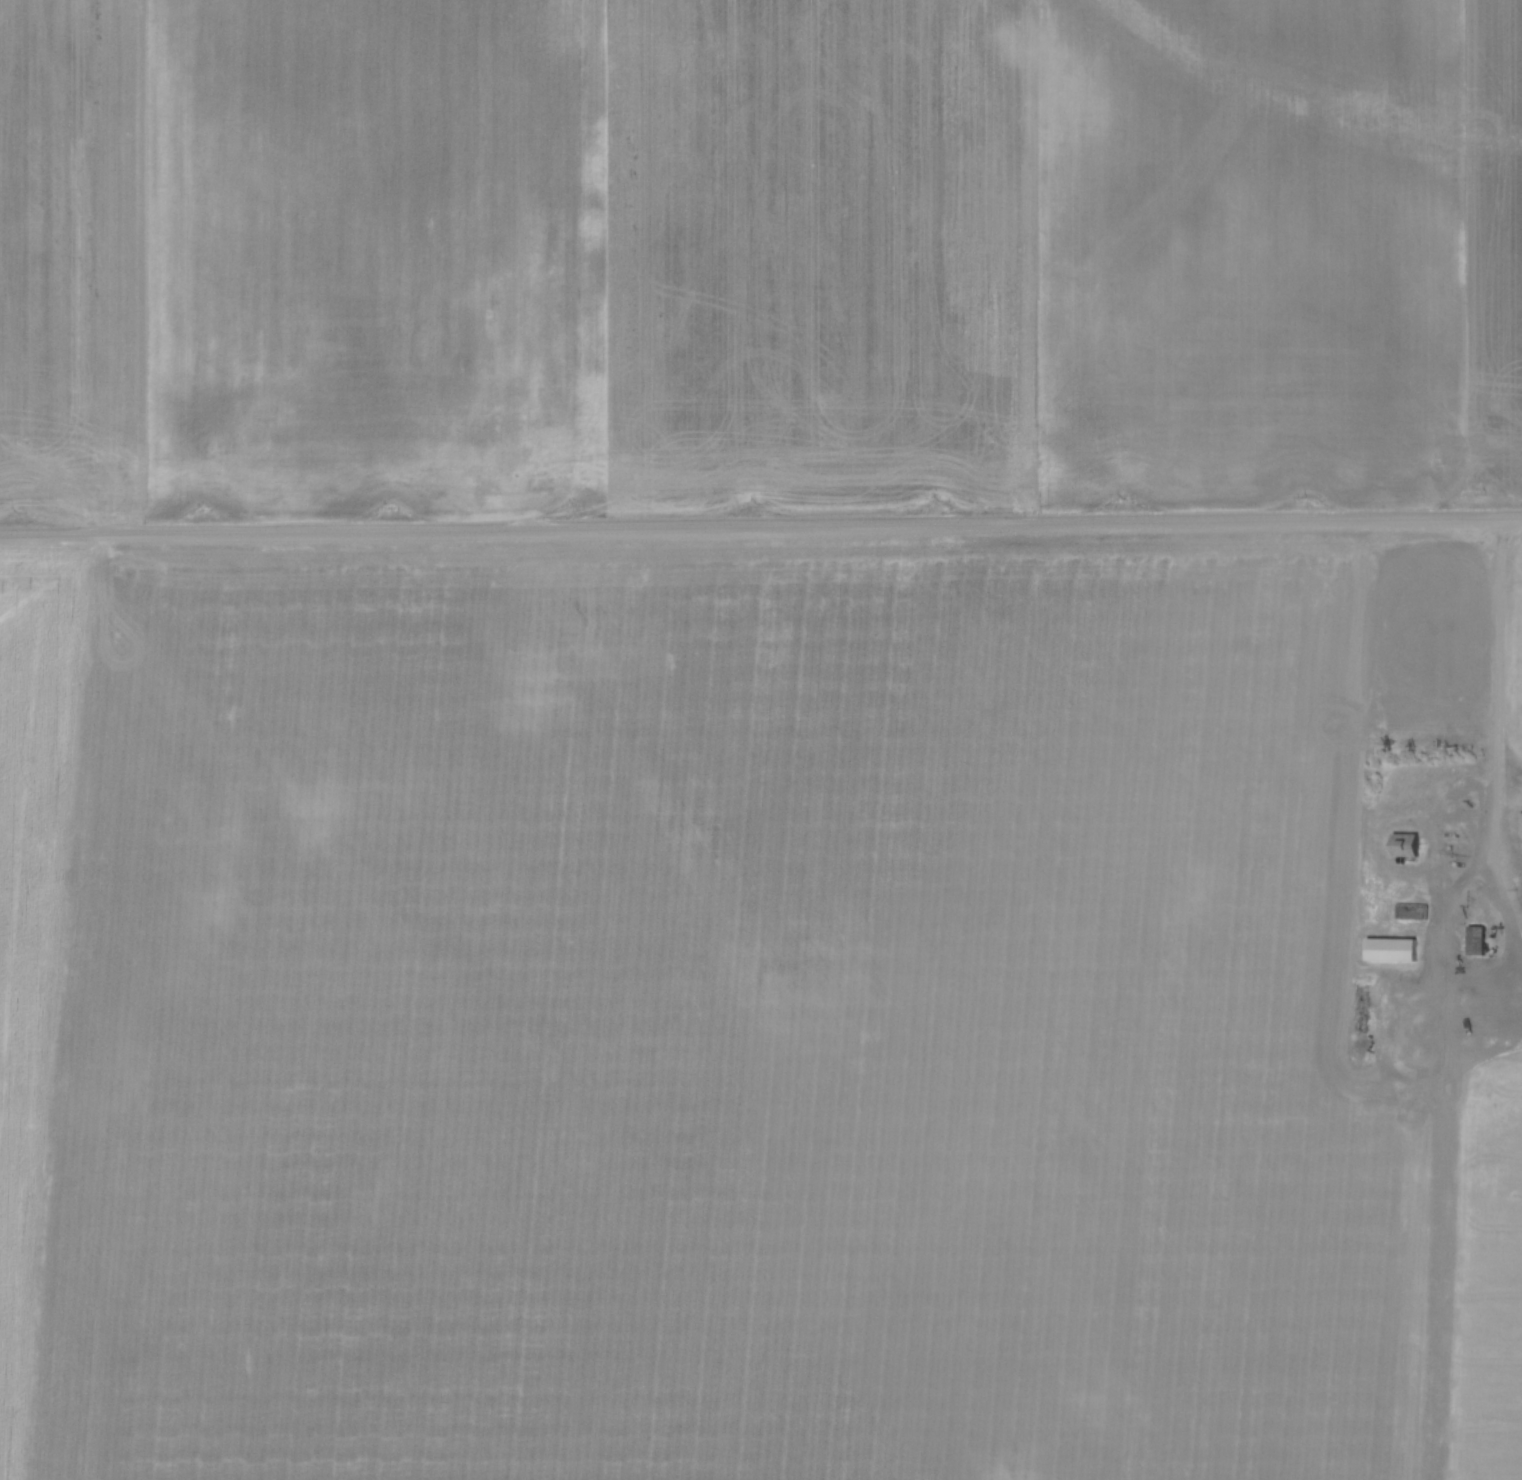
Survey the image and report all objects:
crop: (756, 253)
road: (760, 527)
crop: (1516, 661)
road: (1498, 783)
building: (1521, 824)
building: (1408, 844)
building: (1414, 909)
building: (1477, 939)
crop: (721, 1023)

